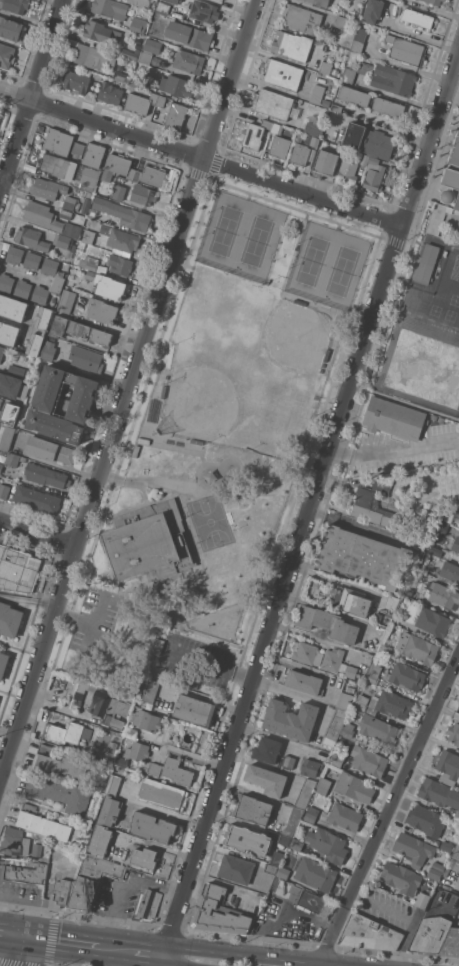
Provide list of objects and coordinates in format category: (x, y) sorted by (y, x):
building: (220, 0)
building: (174, 1)
building: (140, 2)
building: (319, 2)
building: (436, 2)
building: (15, 5)
building: (111, 8)
building: (163, 8)
building: (131, 9)
building: (373, 10)
building: (203, 11)
building: (301, 18)
building: (418, 18)
building: (158, 19)
building: (343, 22)
building: (139, 24)
building: (11, 28)
building: (99, 31)
building: (189, 34)
building: (359, 39)
building: (292, 45)
building: (406, 49)
building: (149, 50)
building: (130, 51)
road: (200, 51)
building: (6, 54)
building: (92, 56)
building: (159, 61)
building: (189, 61)
building: (326, 67)
building: (357, 70)
building: (335, 71)
building: (283, 74)
building: (121, 76)
building: (393, 79)
building: (77, 81)
building: (139, 82)
building: (177, 85)
road: (31, 93)
building: (110, 93)
building: (354, 95)
building: (316, 98)
building: (161, 101)
building: (140, 102)
building: (275, 104)
building: (388, 106)
building: (336, 107)
building: (176, 114)
building: (313, 128)
building: (255, 134)
building: (306, 138)
building: (369, 140)
building: (59, 141)
building: (280, 141)
building: (314, 141)
building: (78, 149)
building: (340, 149)
building: (94, 154)
building: (300, 154)
road: (201, 157)
building: (363, 158)
building: (325, 162)
building: (121, 167)
building: (348, 169)
building: (70, 170)
building: (374, 174)
building: (451, 174)
building: (153, 175)
building: (47, 188)
building: (109, 192)
building: (117, 194)
building: (143, 194)
building: (87, 199)
building: (69, 202)
building: (457, 205)
building: (65, 213)
building: (124, 214)
building: (42, 215)
park: (228, 231)
building: (88, 236)
building: (32, 238)
building: (62, 240)
building: (121, 240)
park: (260, 241)
building: (81, 246)
building: (15, 254)
building: (32, 259)
park: (315, 261)
building: (89, 262)
building: (427, 263)
building: (120, 264)
building: (50, 266)
road: (19, 270)
park: (345, 271)
building: (6, 282)
building: (107, 285)
building: (22, 288)
building: (48, 288)
building: (67, 301)
building: (12, 307)
building: (102, 310)
building: (43, 318)
building: (59, 325)
building: (78, 328)
building: (8, 333)
building: (101, 336)
building: (35, 343)
park: (277, 349)
building: (48, 350)
building: (2, 352)
building: (86, 358)
building: (12, 386)
road: (127, 392)
park: (216, 394)
building: (0, 399)
building: (46, 402)
building: (12, 418)
building: (394, 418)
building: (7, 437)
park: (219, 447)
building: (50, 450)
road: (393, 450)
building: (3, 452)
building: (13, 459)
building: (1, 465)
road: (244, 465)
building: (46, 475)
building: (4, 490)
building: (37, 498)
building: (376, 505)
building: (456, 510)
road: (309, 512)
building: (447, 515)
park: (213, 522)
building: (441, 527)
road: (38, 534)
building: (150, 541)
building: (456, 544)
road: (198, 546)
building: (435, 551)
building: (2, 554)
building: (363, 557)
building: (24, 566)
building: (449, 572)
building: (1, 581)
building: (414, 593)
building: (443, 594)
road: (29, 598)
building: (352, 601)
building: (392, 602)
building: (378, 616)
road: (76, 618)
building: (10, 619)
building: (396, 620)
parking lot: (98, 621)
road: (98, 621)
building: (433, 622)
building: (328, 623)
building: (157, 646)
building: (418, 647)
building: (385, 648)
building: (307, 653)
parking lot: (198, 660)
building: (3, 663)
building: (339, 663)
road: (210, 665)
building: (374, 672)
building: (403, 678)
building: (304, 681)
building: (151, 691)
building: (345, 700)
building: (361, 701)
building: (102, 704)
building: (390, 704)
building: (458, 709)
building: (194, 710)
building: (291, 719)
building: (146, 720)
building: (335, 726)
building: (377, 728)
building: (347, 729)
road: (8, 731)
building: (69, 732)
building: (131, 732)
building: (454, 733)
building: (114, 736)
building: (111, 748)
building: (267, 749)
building: (135, 750)
road: (188, 756)
building: (336, 759)
building: (369, 760)
building: (121, 761)
building: (288, 761)
building: (60, 762)
building: (448, 766)
building: (310, 767)
building: (173, 771)
building: (267, 779)
building: (113, 784)
building: (323, 785)
building: (354, 787)
building: (59, 792)
building: (439, 792)
building: (305, 793)
building: (162, 794)
road: (160, 808)
building: (252, 809)
building: (110, 810)
road: (389, 810)
road: (157, 811)
building: (311, 813)
building: (345, 816)
building: (456, 816)
building: (426, 820)
building: (293, 821)
building: (42, 823)
building: (153, 826)
building: (79, 830)
building: (284, 839)
building: (100, 840)
building: (248, 840)
building: (14, 842)
building: (296, 844)
building: (328, 844)
building: (447, 846)
building: (414, 848)
building: (36, 849)
building: (456, 852)
building: (145, 857)
building: (277, 857)
building: (235, 868)
building: (270, 868)
building: (442, 868)
building: (283, 872)
building: (314, 873)
building: (25, 874)
building: (401, 877)
building: (93, 881)
road: (117, 888)
road: (455, 889)
building: (60, 893)
building: (304, 897)
building: (422, 899)
building: (146, 905)
building: (271, 909)
building: (217, 913)
road: (285, 916)
road: (403, 917)
road: (15, 921)
traffic signals: (31, 924)
building: (369, 933)
road: (29, 934)
building: (430, 934)
road: (14, 942)
building: (450, 943)
traffic signals: (28, 945)
road: (190, 945)
road: (61, 949)
road: (22, 955)
road: (112, 956)
road: (144, 960)
road: (173, 964)

